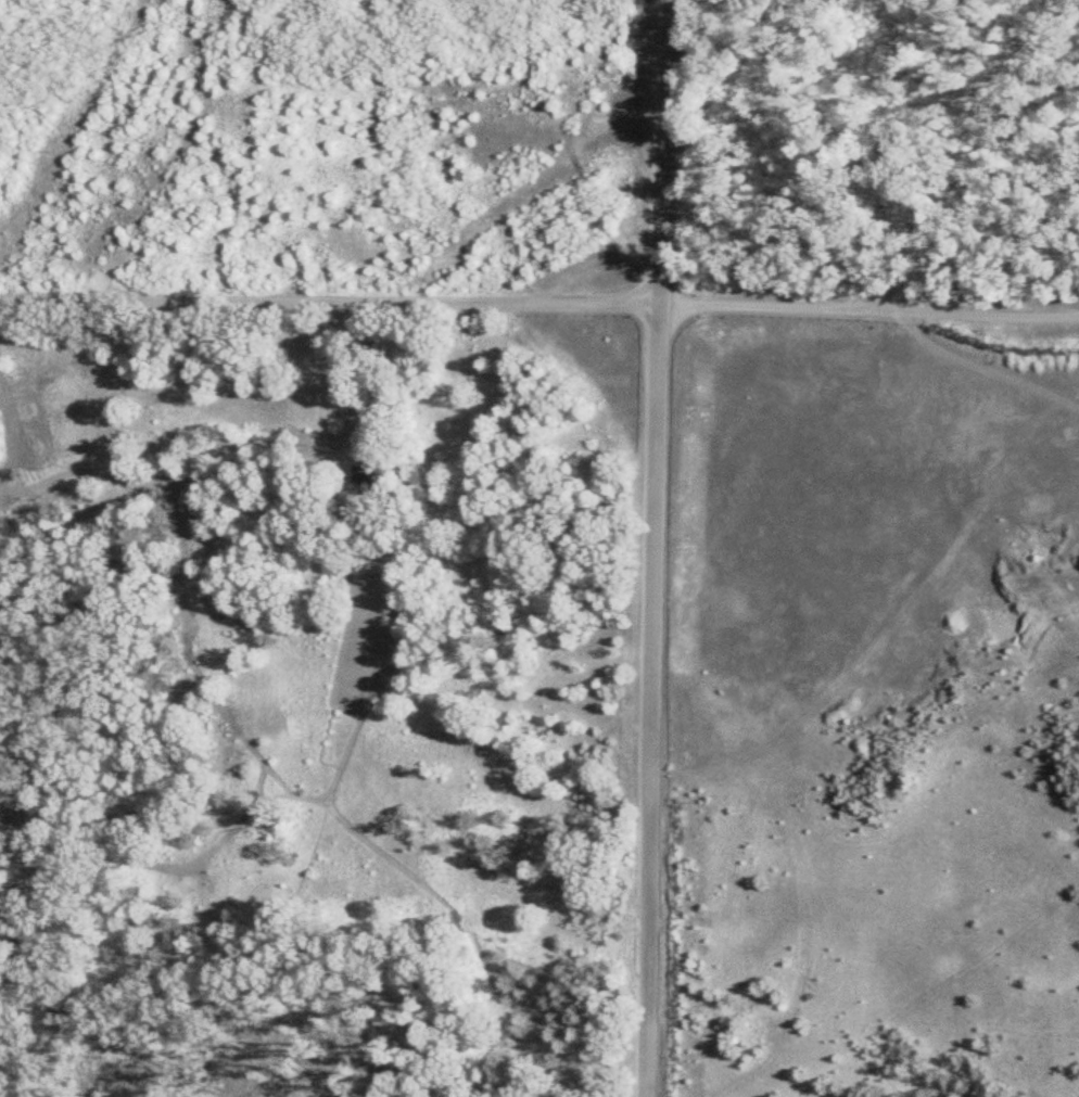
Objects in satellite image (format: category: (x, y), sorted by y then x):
road: (328, 298)
road: (867, 298)
building: (360, 474)
road: (650, 548)

